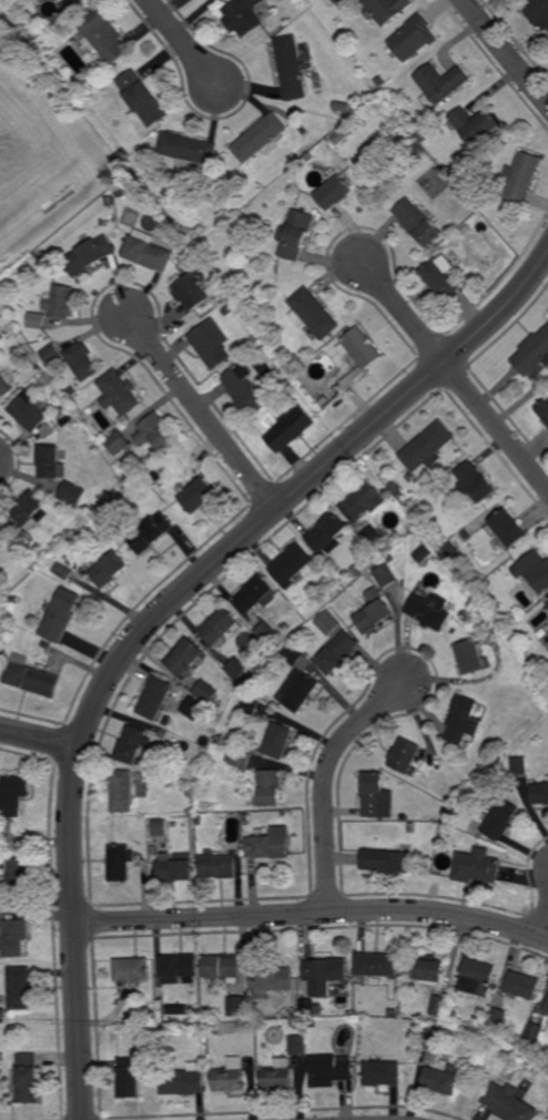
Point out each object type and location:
building: (333, 2)
building: (67, 6)
building: (386, 9)
building: (539, 12)
building: (243, 16)
building: (103, 35)
building: (413, 38)
road: (183, 44)
road: (505, 52)
building: (293, 67)
building: (383, 81)
building: (443, 81)
building: (93, 82)
building: (318, 82)
building: (387, 96)
building: (142, 102)
building: (476, 125)
building: (342, 135)
building: (260, 136)
building: (424, 138)
building: (187, 150)
building: (304, 150)
building: (121, 153)
building: (522, 177)
building: (119, 192)
building: (335, 192)
building: (483, 201)
building: (47, 204)
building: (419, 222)
building: (295, 235)
building: (192, 238)
building: (148, 252)
building: (90, 255)
building: (474, 264)
building: (443, 277)
building: (191, 293)
building: (62, 303)
building: (263, 304)
building: (229, 310)
road: (404, 313)
building: (313, 314)
building: (38, 320)
building: (1, 343)
building: (212, 344)
building: (361, 347)
building: (52, 354)
building: (532, 354)
building: (83, 362)
building: (37, 366)
building: (291, 380)
building: (4, 387)
building: (244, 388)
building: (72, 391)
building: (120, 394)
building: (325, 401)
building: (544, 409)
building: (30, 413)
road: (203, 414)
road: (497, 426)
building: (292, 429)
building: (155, 432)
building: (119, 442)
building: (427, 449)
building: (52, 462)
building: (475, 482)
building: (74, 493)
building: (199, 496)
building: (404, 499)
building: (366, 501)
building: (415, 512)
building: (31, 516)
building: (3, 530)
building: (509, 530)
building: (152, 533)
building: (328, 534)
building: (376, 536)
building: (0, 544)
building: (424, 553)
building: (456, 557)
building: (291, 564)
building: (426, 564)
building: (110, 569)
building: (64, 570)
building: (534, 570)
building: (356, 571)
building: (367, 576)
building: (386, 576)
building: (6, 586)
building: (256, 592)
building: (17, 600)
building: (494, 607)
building: (432, 608)
building: (374, 611)
road: (159, 612)
building: (61, 614)
building: (329, 622)
building: (220, 627)
building: (266, 632)
building: (0, 649)
building: (337, 651)
building: (474, 655)
building: (186, 658)
building: (0, 660)
building: (536, 660)
building: (236, 669)
building: (32, 678)
building: (297, 679)
building: (205, 691)
building: (153, 698)
building: (248, 704)
building: (193, 707)
building: (466, 720)
building: (173, 724)
building: (163, 733)
road: (39, 740)
building: (277, 740)
building: (133, 744)
building: (406, 755)
building: (239, 758)
building: (520, 766)
building: (499, 774)
road: (325, 782)
building: (183, 788)
building: (268, 788)
building: (124, 790)
building: (540, 793)
building: (16, 794)
building: (377, 796)
building: (284, 813)
building: (245, 817)
building: (406, 817)
building: (501, 818)
building: (199, 819)
building: (159, 827)
building: (413, 827)
building: (267, 846)
building: (389, 861)
building: (122, 863)
building: (216, 866)
building: (478, 866)
building: (175, 868)
building: (17, 877)
road: (313, 914)
road: (542, 923)
building: (16, 939)
building: (1, 954)
building: (378, 965)
building: (179, 968)
building: (223, 968)
building: (132, 969)
building: (430, 969)
building: (326, 970)
building: (478, 977)
building: (271, 981)
building: (521, 986)
building: (20, 988)
building: (149, 1005)
building: (239, 1007)
building: (440, 1007)
building: (179, 1009)
building: (546, 1009)
building: (3, 1010)
building: (256, 1010)
building: (394, 1012)
building: (454, 1015)
building: (499, 1019)
building: (313, 1024)
building: (215, 1029)
building: (193, 1032)
building: (535, 1034)
building: (30, 1036)
building: (433, 1039)
building: (298, 1046)
building: (1, 1057)
building: (161, 1060)
building: (331, 1070)
building: (383, 1075)
building: (476, 1075)
building: (280, 1076)
building: (231, 1077)
building: (28, 1078)
building: (129, 1079)
building: (444, 1079)
building: (183, 1081)
building: (509, 1103)

